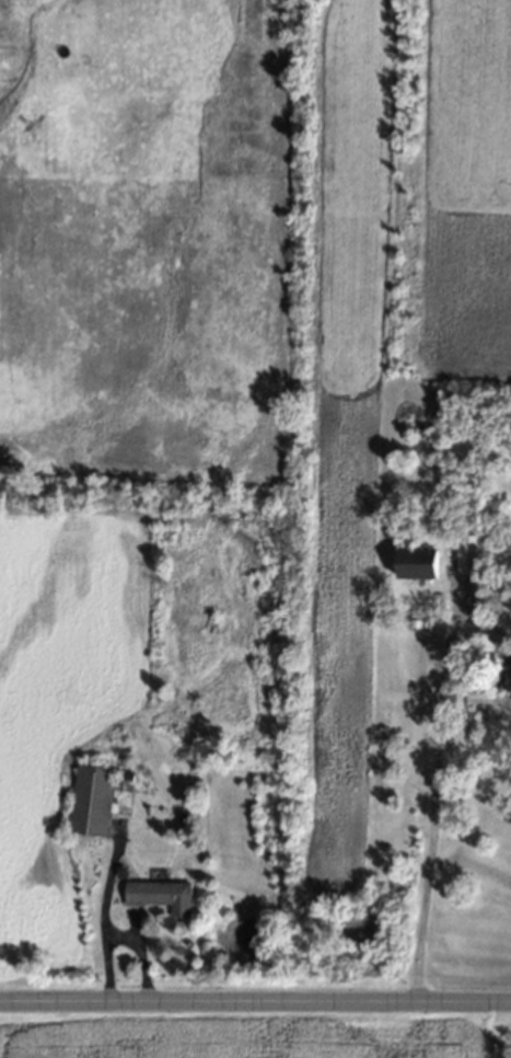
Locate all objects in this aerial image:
crop: (255, 278)
building: (468, 555)
building: (418, 564)
road: (453, 633)
road: (485, 704)
building: (93, 801)
road: (428, 853)
building: (161, 896)
road: (255, 1002)
crop: (244, 1040)

